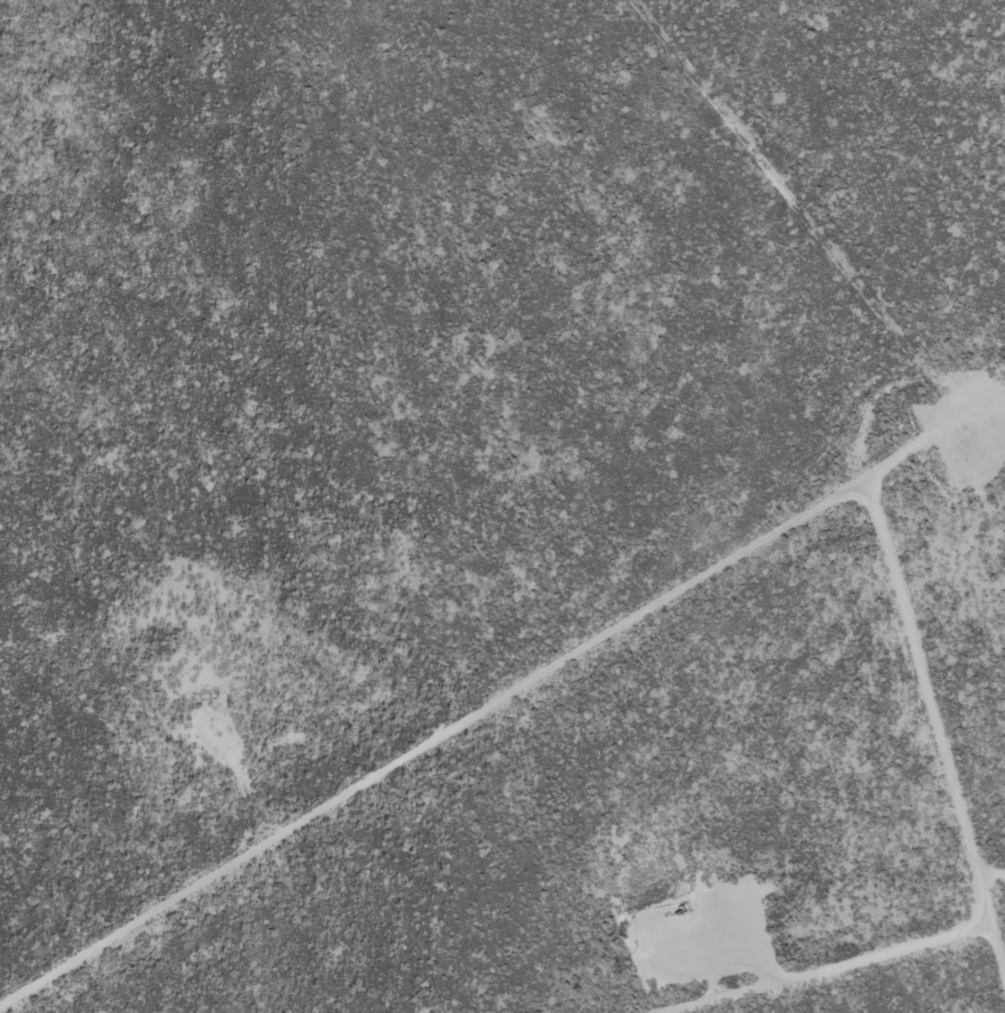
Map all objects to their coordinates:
road: (602, 639)
road: (829, 962)

